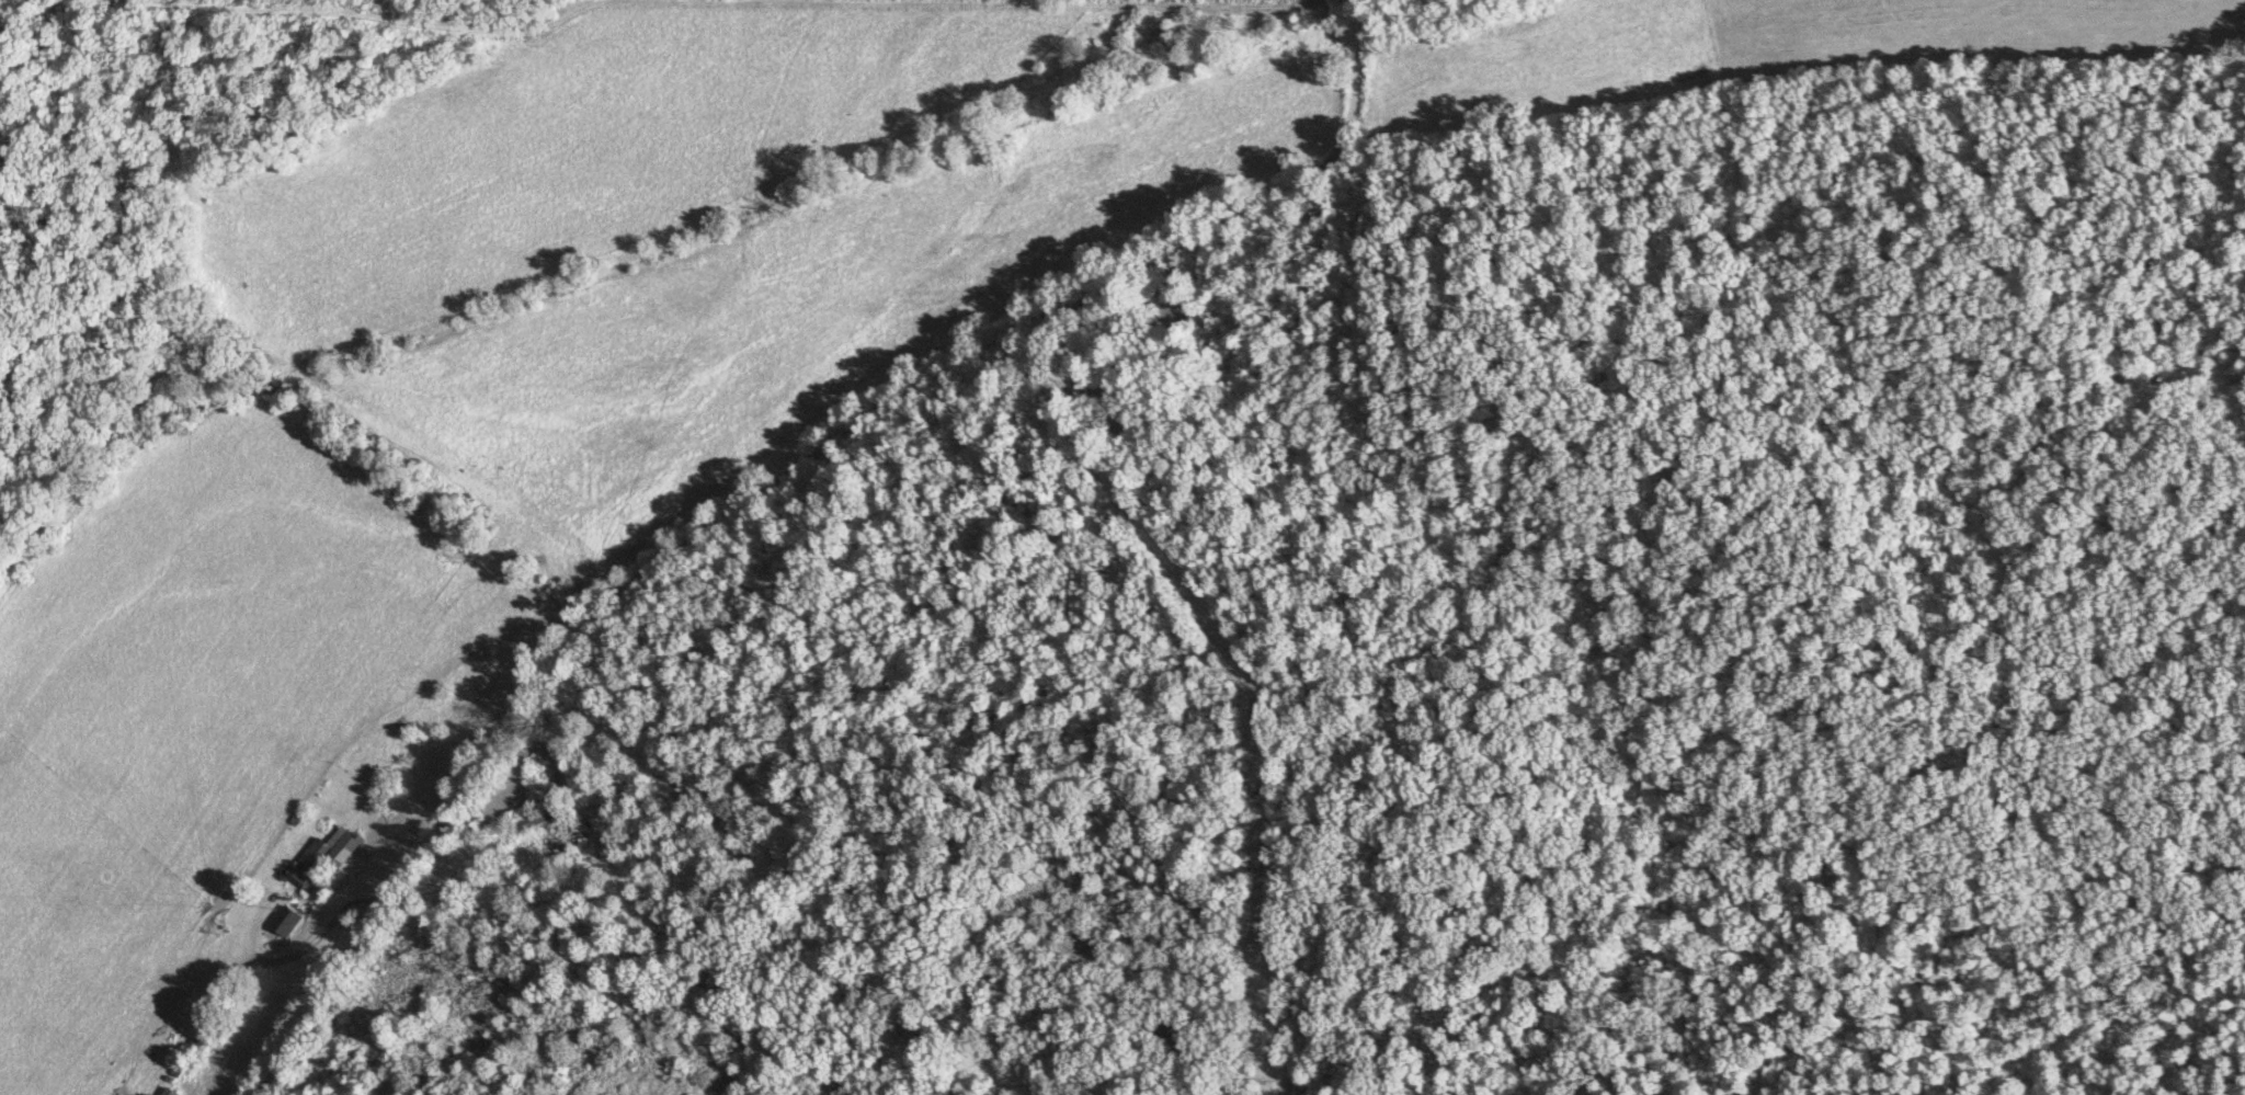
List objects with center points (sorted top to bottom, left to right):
road: (778, 487)
building: (316, 857)
building: (277, 921)
building: (184, 1047)

